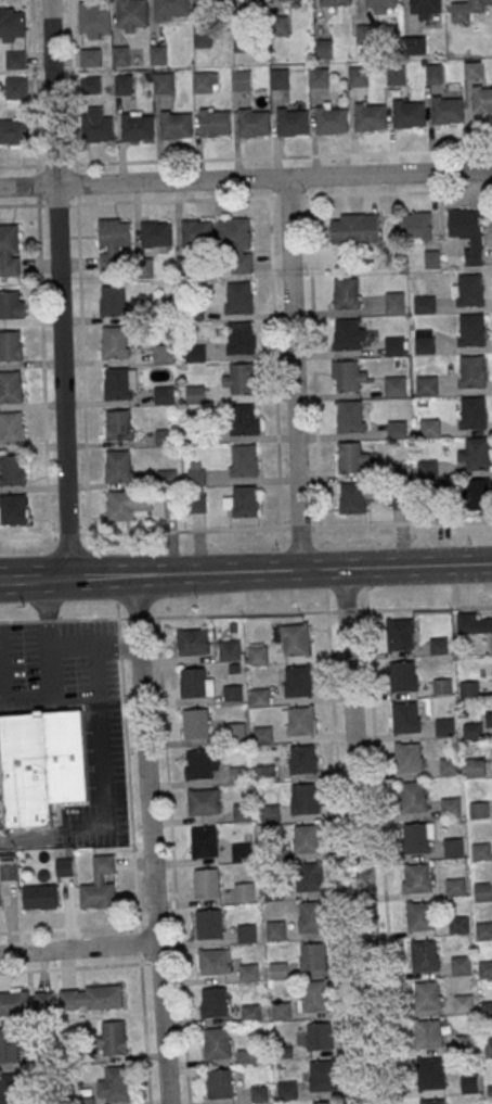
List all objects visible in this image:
building: (208, 0)
building: (288, 0)
building: (336, 1)
building: (380, 4)
building: (171, 8)
building: (426, 8)
building: (466, 9)
building: (131, 12)
building: (93, 16)
building: (12, 25)
building: (279, 25)
building: (366, 34)
building: (203, 36)
building: (244, 41)
building: (414, 46)
building: (158, 54)
building: (121, 55)
building: (90, 56)
building: (15, 61)
building: (474, 69)
building: (397, 74)
building: (435, 74)
building: (319, 76)
building: (358, 76)
building: (280, 77)
building: (242, 79)
building: (203, 81)
building: (164, 83)
building: (124, 84)
building: (90, 85)
building: (16, 88)
building: (481, 99)
building: (446, 109)
building: (407, 113)
building: (370, 115)
building: (331, 119)
building: (292, 120)
building: (213, 122)
building: (254, 122)
building: (176, 123)
building: (137, 126)
building: (96, 127)
building: (13, 132)
road: (232, 157)
road: (246, 179)
road: (239, 198)
building: (415, 225)
building: (354, 227)
building: (468, 231)
building: (197, 232)
building: (156, 233)
building: (112, 242)
building: (236, 242)
building: (10, 251)
road: (57, 289)
building: (467, 290)
building: (346, 293)
building: (238, 297)
building: (113, 301)
building: (394, 302)
building: (425, 304)
building: (12, 305)
building: (471, 330)
building: (350, 333)
building: (239, 338)
building: (114, 341)
building: (424, 341)
building: (394, 345)
building: (11, 346)
building: (163, 353)
building: (195, 353)
road: (313, 360)
road: (274, 363)
building: (471, 370)
road: (294, 372)
building: (348, 376)
building: (239, 379)
building: (120, 382)
building: (427, 384)
building: (396, 385)
building: (11, 388)
building: (194, 393)
building: (164, 394)
building: (472, 411)
building: (350, 416)
building: (244, 419)
building: (119, 424)
building: (430, 427)
building: (12, 429)
building: (398, 429)
building: (197, 435)
building: (166, 436)
building: (476, 454)
building: (352, 457)
building: (244, 460)
building: (118, 466)
building: (427, 468)
building: (12, 470)
building: (196, 473)
building: (478, 493)
building: (352, 497)
building: (197, 500)
building: (243, 502)
building: (128, 505)
building: (13, 510)
road: (246, 529)
road: (397, 564)
road: (184, 572)
road: (34, 580)
road: (245, 612)
road: (44, 614)
building: (472, 623)
building: (400, 633)
building: (296, 637)
road: (348, 639)
building: (193, 640)
building: (439, 645)
road: (116, 647)
building: (230, 649)
building: (257, 653)
road: (95, 670)
building: (403, 675)
building: (298, 680)
building: (193, 682)
building: (442, 686)
building: (469, 688)
building: (233, 693)
building: (260, 696)
building: (405, 715)
building: (301, 720)
building: (489, 721)
building: (196, 722)
building: (444, 726)
building: (471, 729)
building: (235, 732)
building: (409, 757)
building: (302, 758)
building: (198, 763)
building: (449, 765)
building: (475, 766)
building: (24, 772)
building: (266, 772)
building: (238, 774)
building: (412, 795)
building: (303, 798)
building: (200, 801)
building: (451, 805)
building: (479, 809)
building: (243, 811)
building: (270, 812)
building: (416, 837)
building: (307, 838)
road: (150, 839)
building: (204, 841)
building: (453, 847)
building: (481, 850)
building: (242, 851)
road: (342, 856)
road: (381, 856)
road: (172, 860)
road: (132, 861)
building: (64, 867)
building: (310, 875)
building: (417, 877)
building: (206, 881)
building: (100, 885)
building: (455, 886)
building: (482, 890)
building: (244, 891)
building: (0, 897)
building: (40, 897)
road: (364, 908)
building: (312, 915)
building: (420, 915)
building: (209, 923)
building: (457, 924)
road: (68, 928)
building: (483, 929)
building: (275, 930)
building: (247, 934)
road: (77, 948)
building: (424, 954)
building: (313, 955)
building: (215, 961)
building: (461, 964)
road: (69, 967)
building: (484, 968)
building: (279, 970)
building: (248, 972)
building: (427, 994)
building: (315, 995)
building: (90, 998)
building: (213, 1001)
building: (25, 1002)
building: (463, 1003)
building: (487, 1008)
building: (281, 1011)
building: (251, 1012)
building: (428, 1032)
building: (319, 1035)
building: (113, 1038)
building: (217, 1042)
building: (465, 1042)
building: (9, 1045)
building: (488, 1046)
building: (431, 1073)
building: (322, 1075)
building: (219, 1082)
building: (468, 1082)
building: (113, 1086)
building: (10, 1089)
building: (286, 1089)
building: (260, 1093)
building: (433, 1101)
building: (325, 1102)

